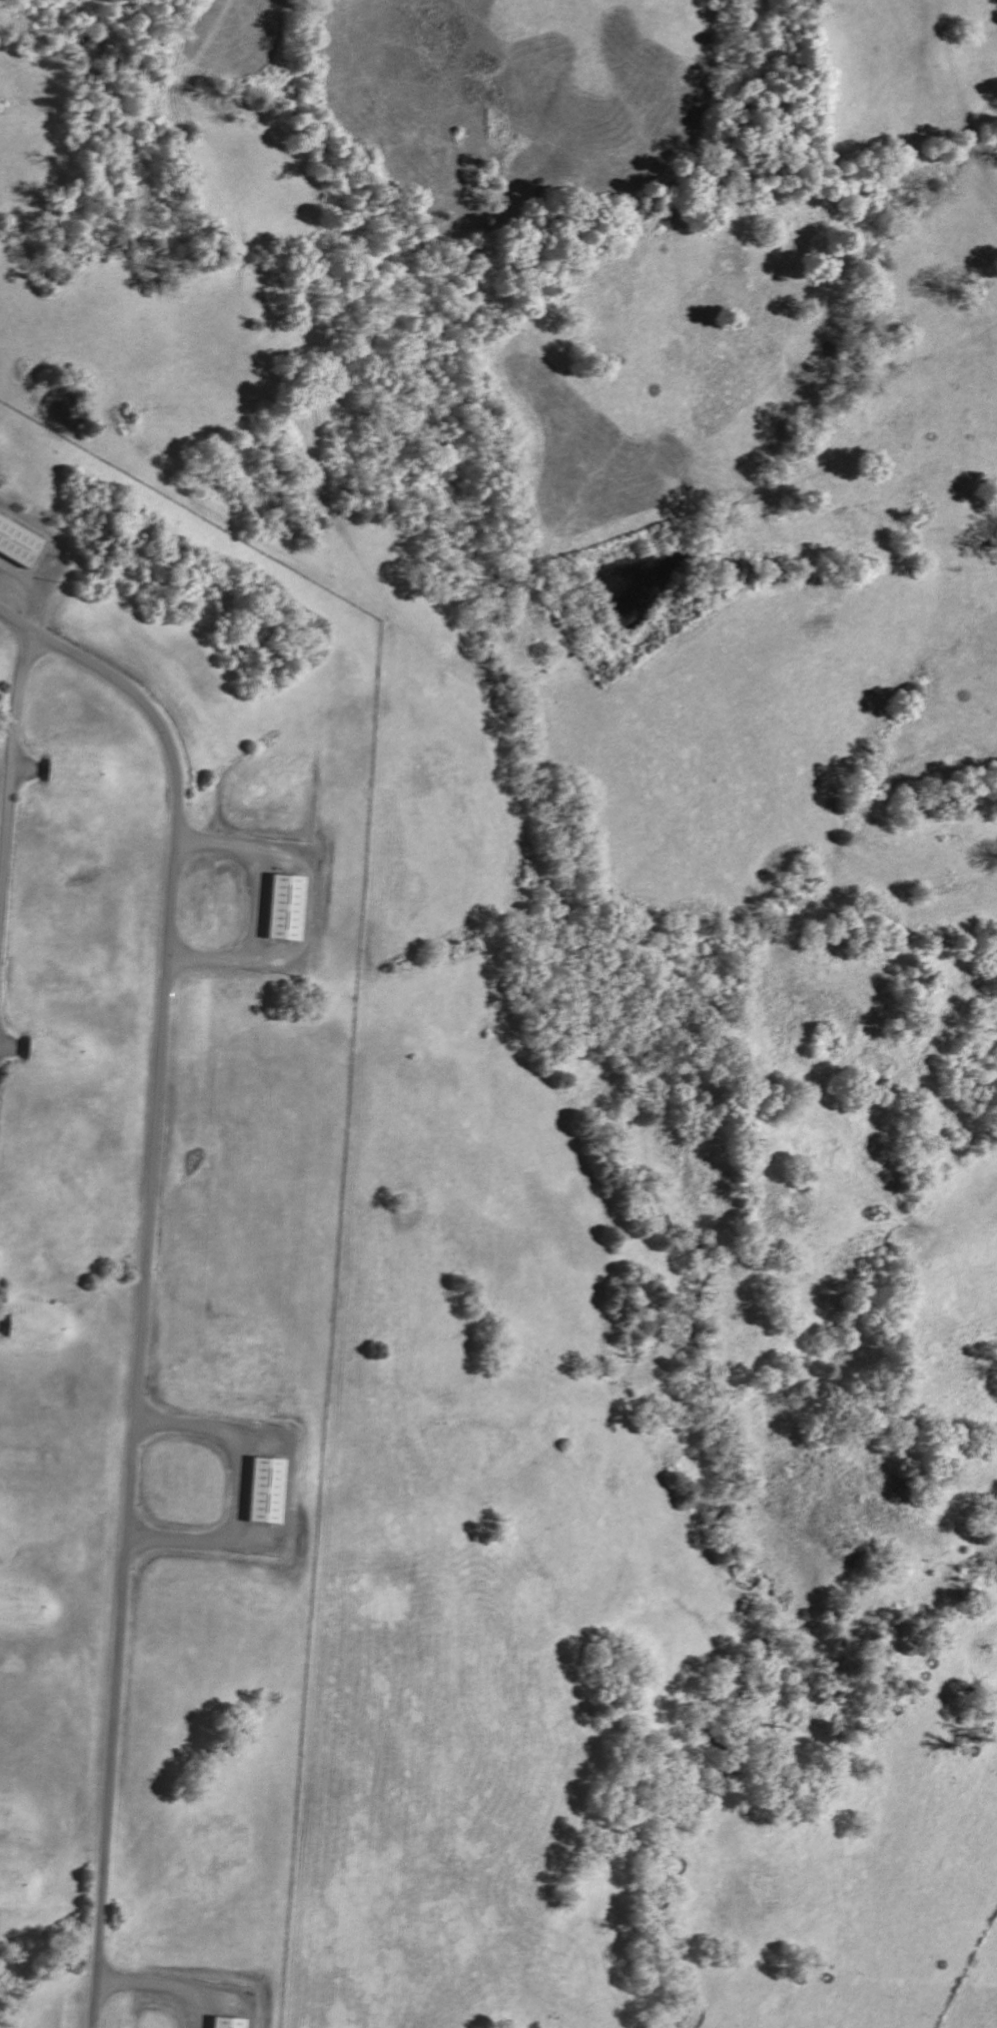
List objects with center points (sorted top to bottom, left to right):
building: (18, 544)
road: (20, 692)
building: (285, 906)
road: (147, 1286)
road: (162, 1986)
building: (226, 2023)

